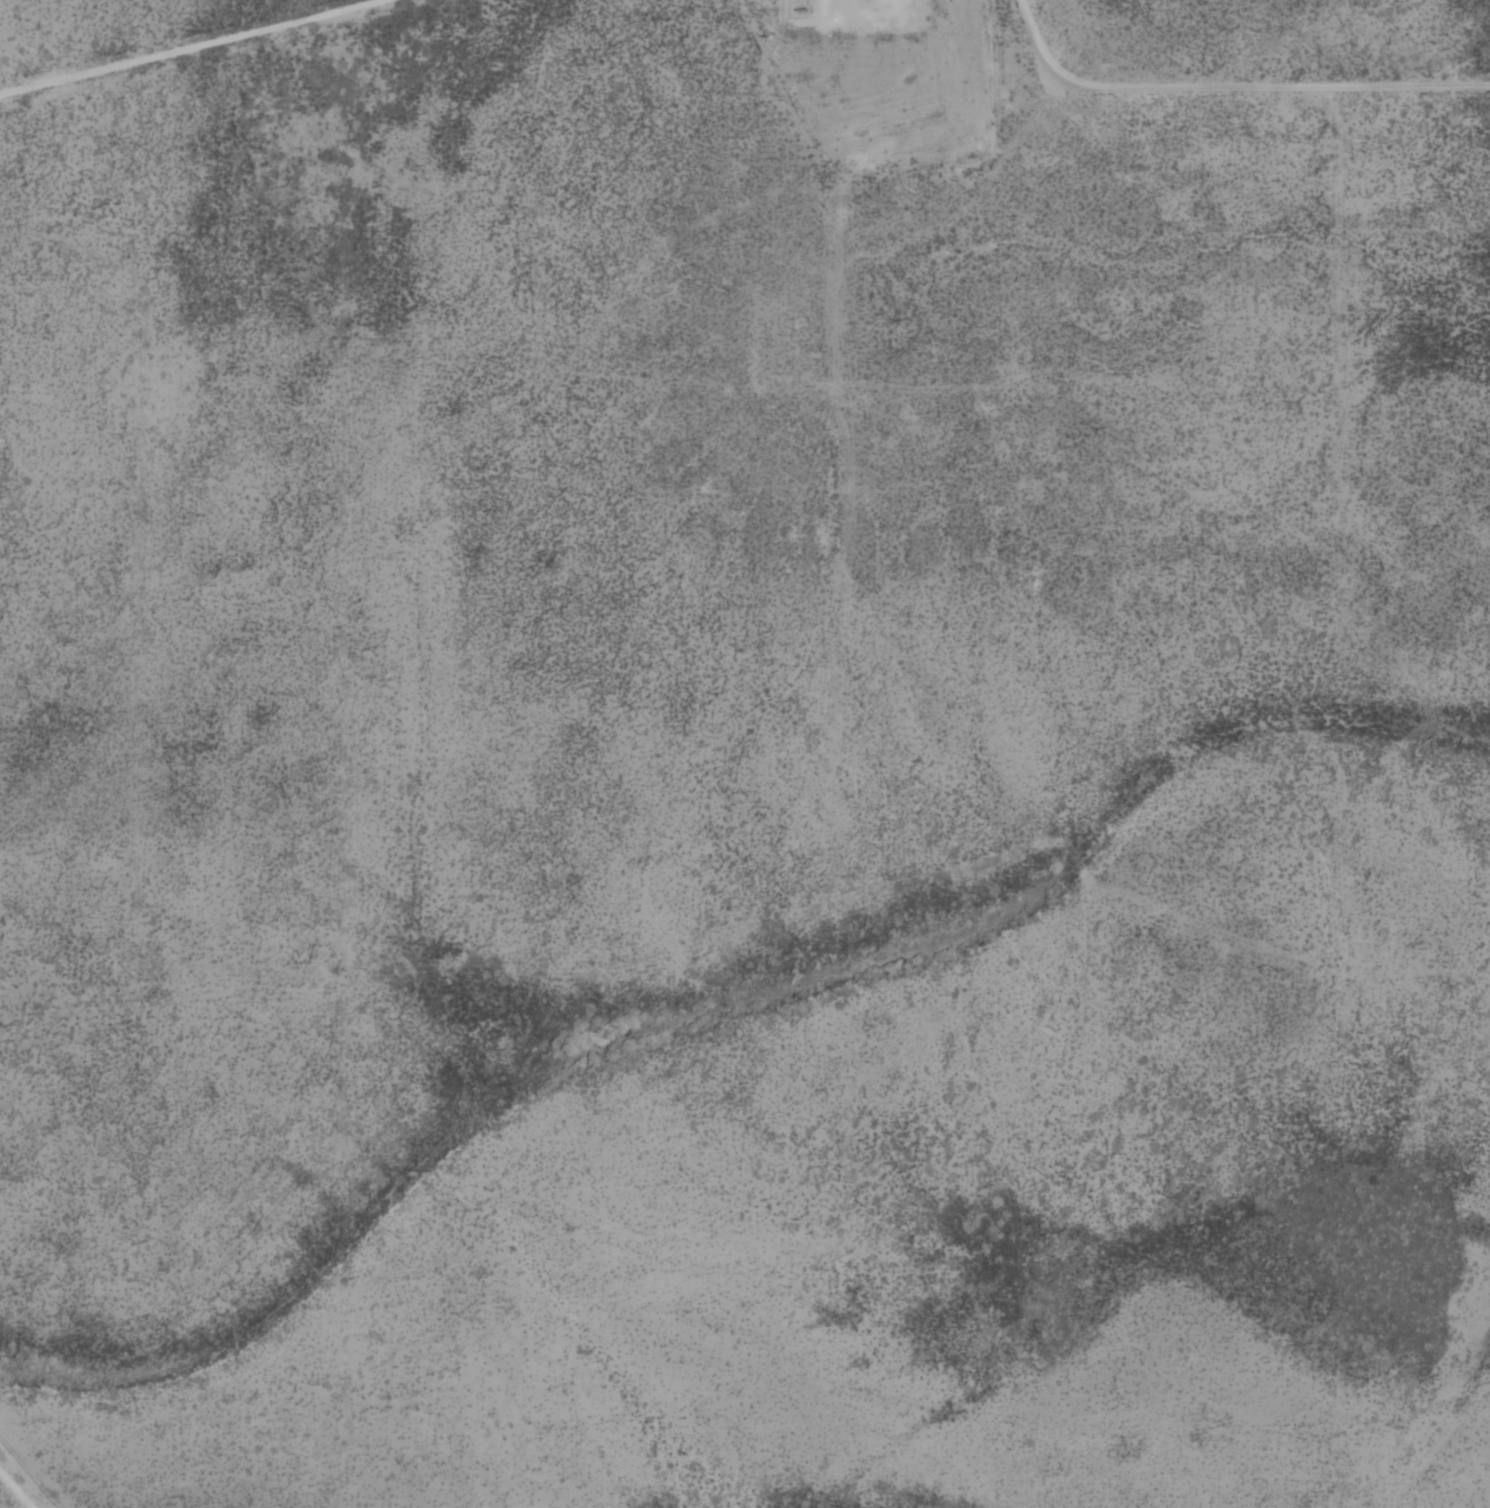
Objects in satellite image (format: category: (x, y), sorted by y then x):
road: (15, 1489)

